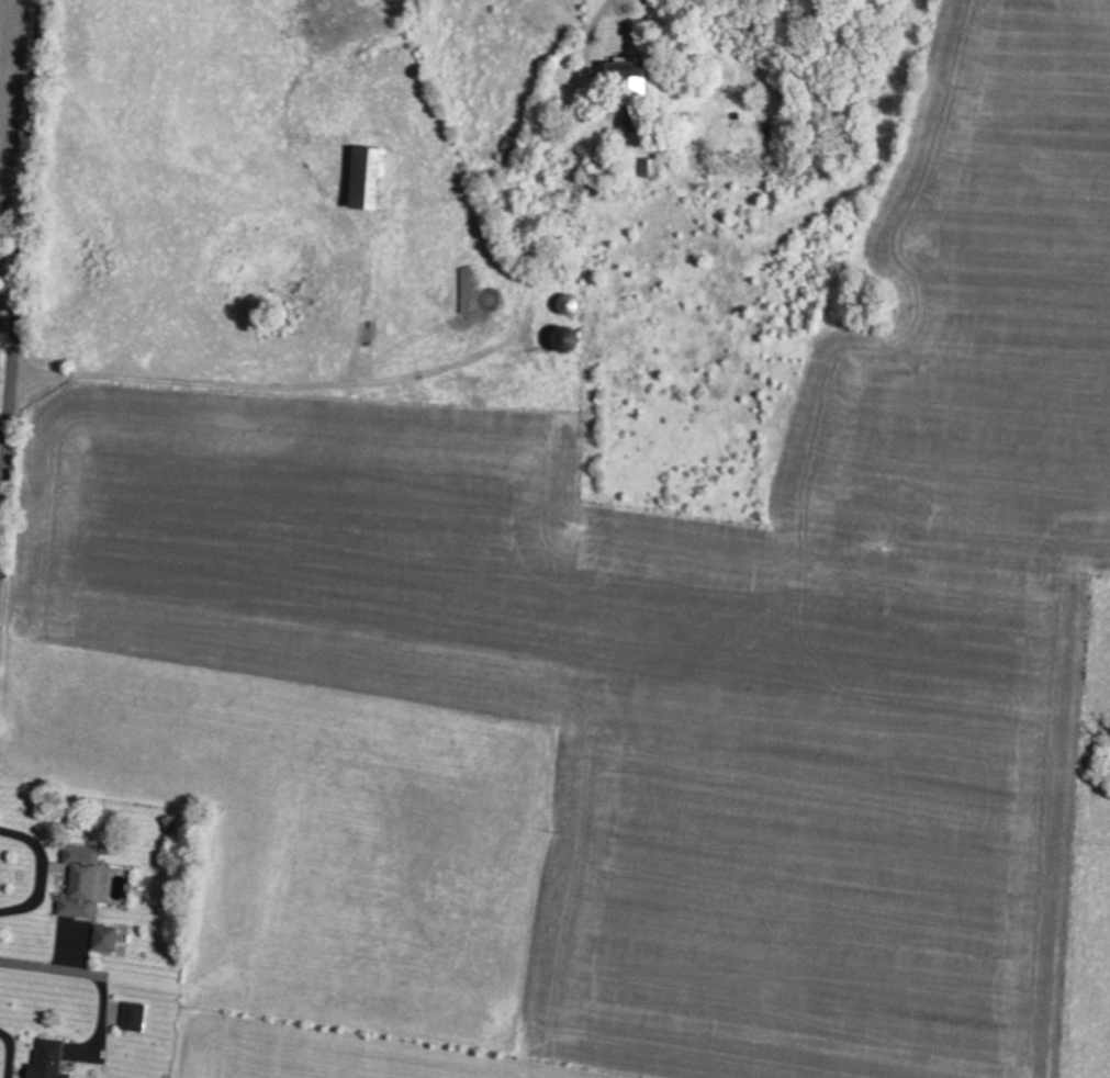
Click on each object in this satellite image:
building: (631, 68)
building: (373, 176)
road: (22, 281)
building: (83, 880)
building: (105, 937)
road: (49, 967)
building: (136, 1015)
building: (51, 1059)

